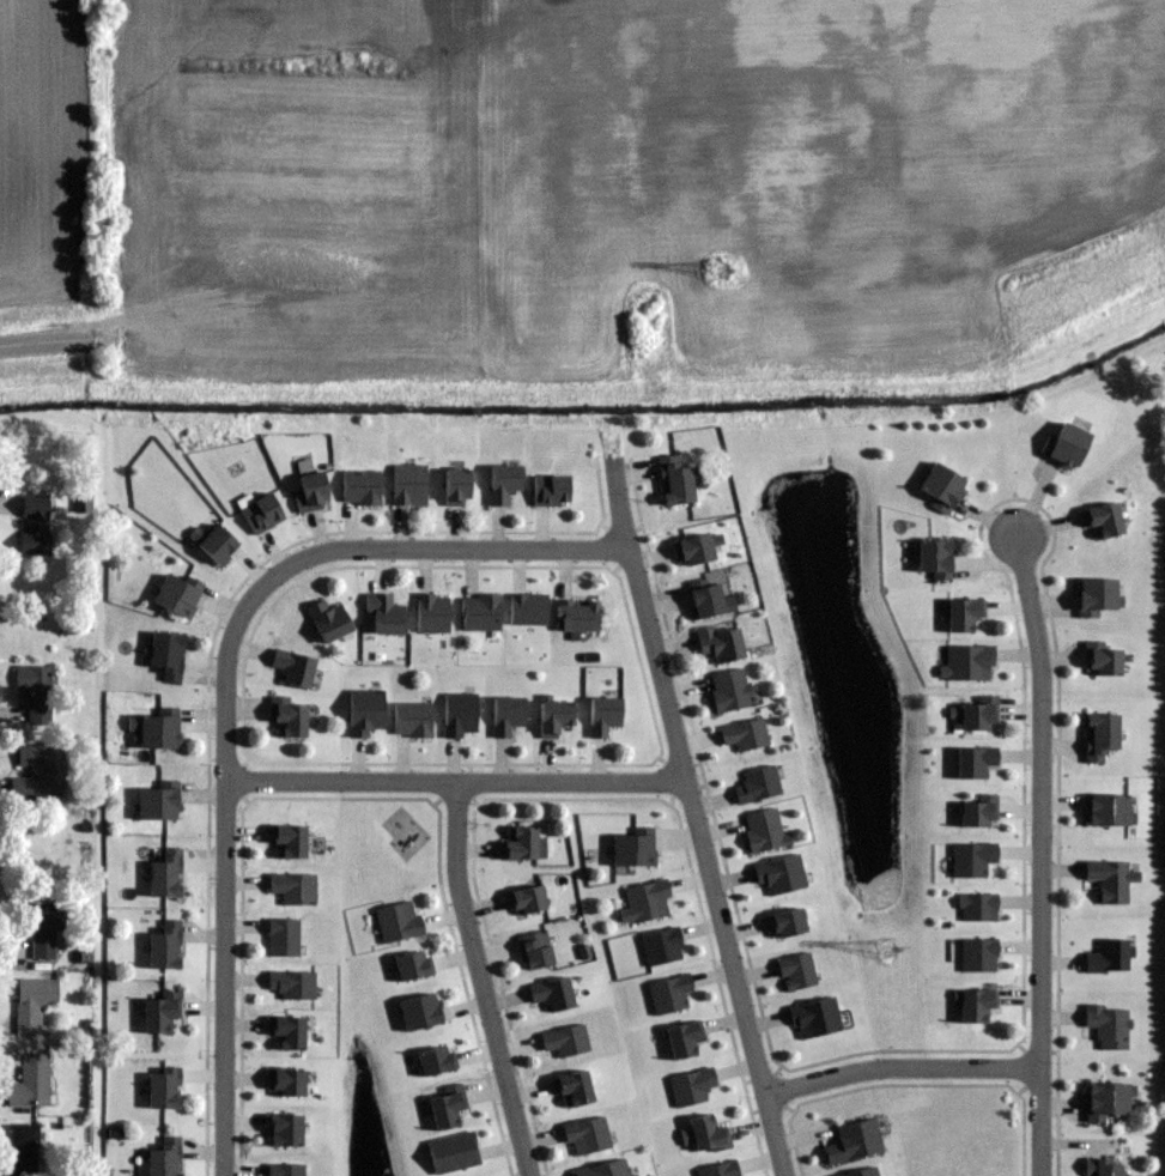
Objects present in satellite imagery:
power tower: (729, 269)
road: (45, 352)
building: (1064, 444)
building: (673, 480)
building: (502, 483)
building: (407, 484)
building: (359, 486)
building: (454, 486)
building: (938, 487)
building: (548, 489)
building: (310, 491)
building: (260, 514)
building: (1102, 520)
building: (37, 523)
building: (220, 544)
road: (465, 547)
building: (694, 548)
building: (933, 559)
building: (178, 595)
building: (1094, 596)
building: (709, 602)
building: (431, 612)
building: (480, 612)
building: (961, 614)
building: (383, 616)
building: (576, 616)
building: (326, 620)
building: (718, 642)
building: (170, 655)
building: (1100, 660)
building: (291, 668)
building: (729, 691)
building: (36, 692)
building: (364, 713)
building: (459, 715)
building: (602, 715)
building: (977, 715)
building: (552, 717)
building: (286, 719)
building: (412, 720)
building: (159, 731)
building: (742, 734)
building: (1098, 736)
building: (972, 763)
building: (40, 771)
road: (456, 778)
building: (757, 786)
building: (160, 802)
building: (976, 812)
building: (1108, 812)
road: (694, 818)
building: (763, 830)
building: (287, 841)
building: (523, 844)
road: (226, 847)
building: (631, 850)
road: (1036, 857)
building: (168, 873)
building: (1110, 880)
building: (292, 889)
building: (524, 901)
building: (647, 901)
building: (396, 922)
building: (43, 927)
building: (281, 938)
building: (169, 945)
building: (534, 951)
building: (1106, 958)
building: (411, 966)
building: (795, 971)
road: (481, 978)
building: (291, 984)
building: (35, 1001)
building: (975, 1006)
building: (164, 1011)
building: (814, 1017)
building: (1108, 1025)
building: (286, 1032)
building: (681, 1038)
building: (564, 1041)
road: (900, 1066)
building: (30, 1087)
building: (165, 1087)
building: (1110, 1101)
building: (445, 1107)
building: (283, 1130)
building: (705, 1134)
building: (585, 1135)
building: (852, 1141)
building: (26, 1150)
building: (168, 1157)
building: (1099, 1168)
building: (603, 1169)
building: (633, 1175)

